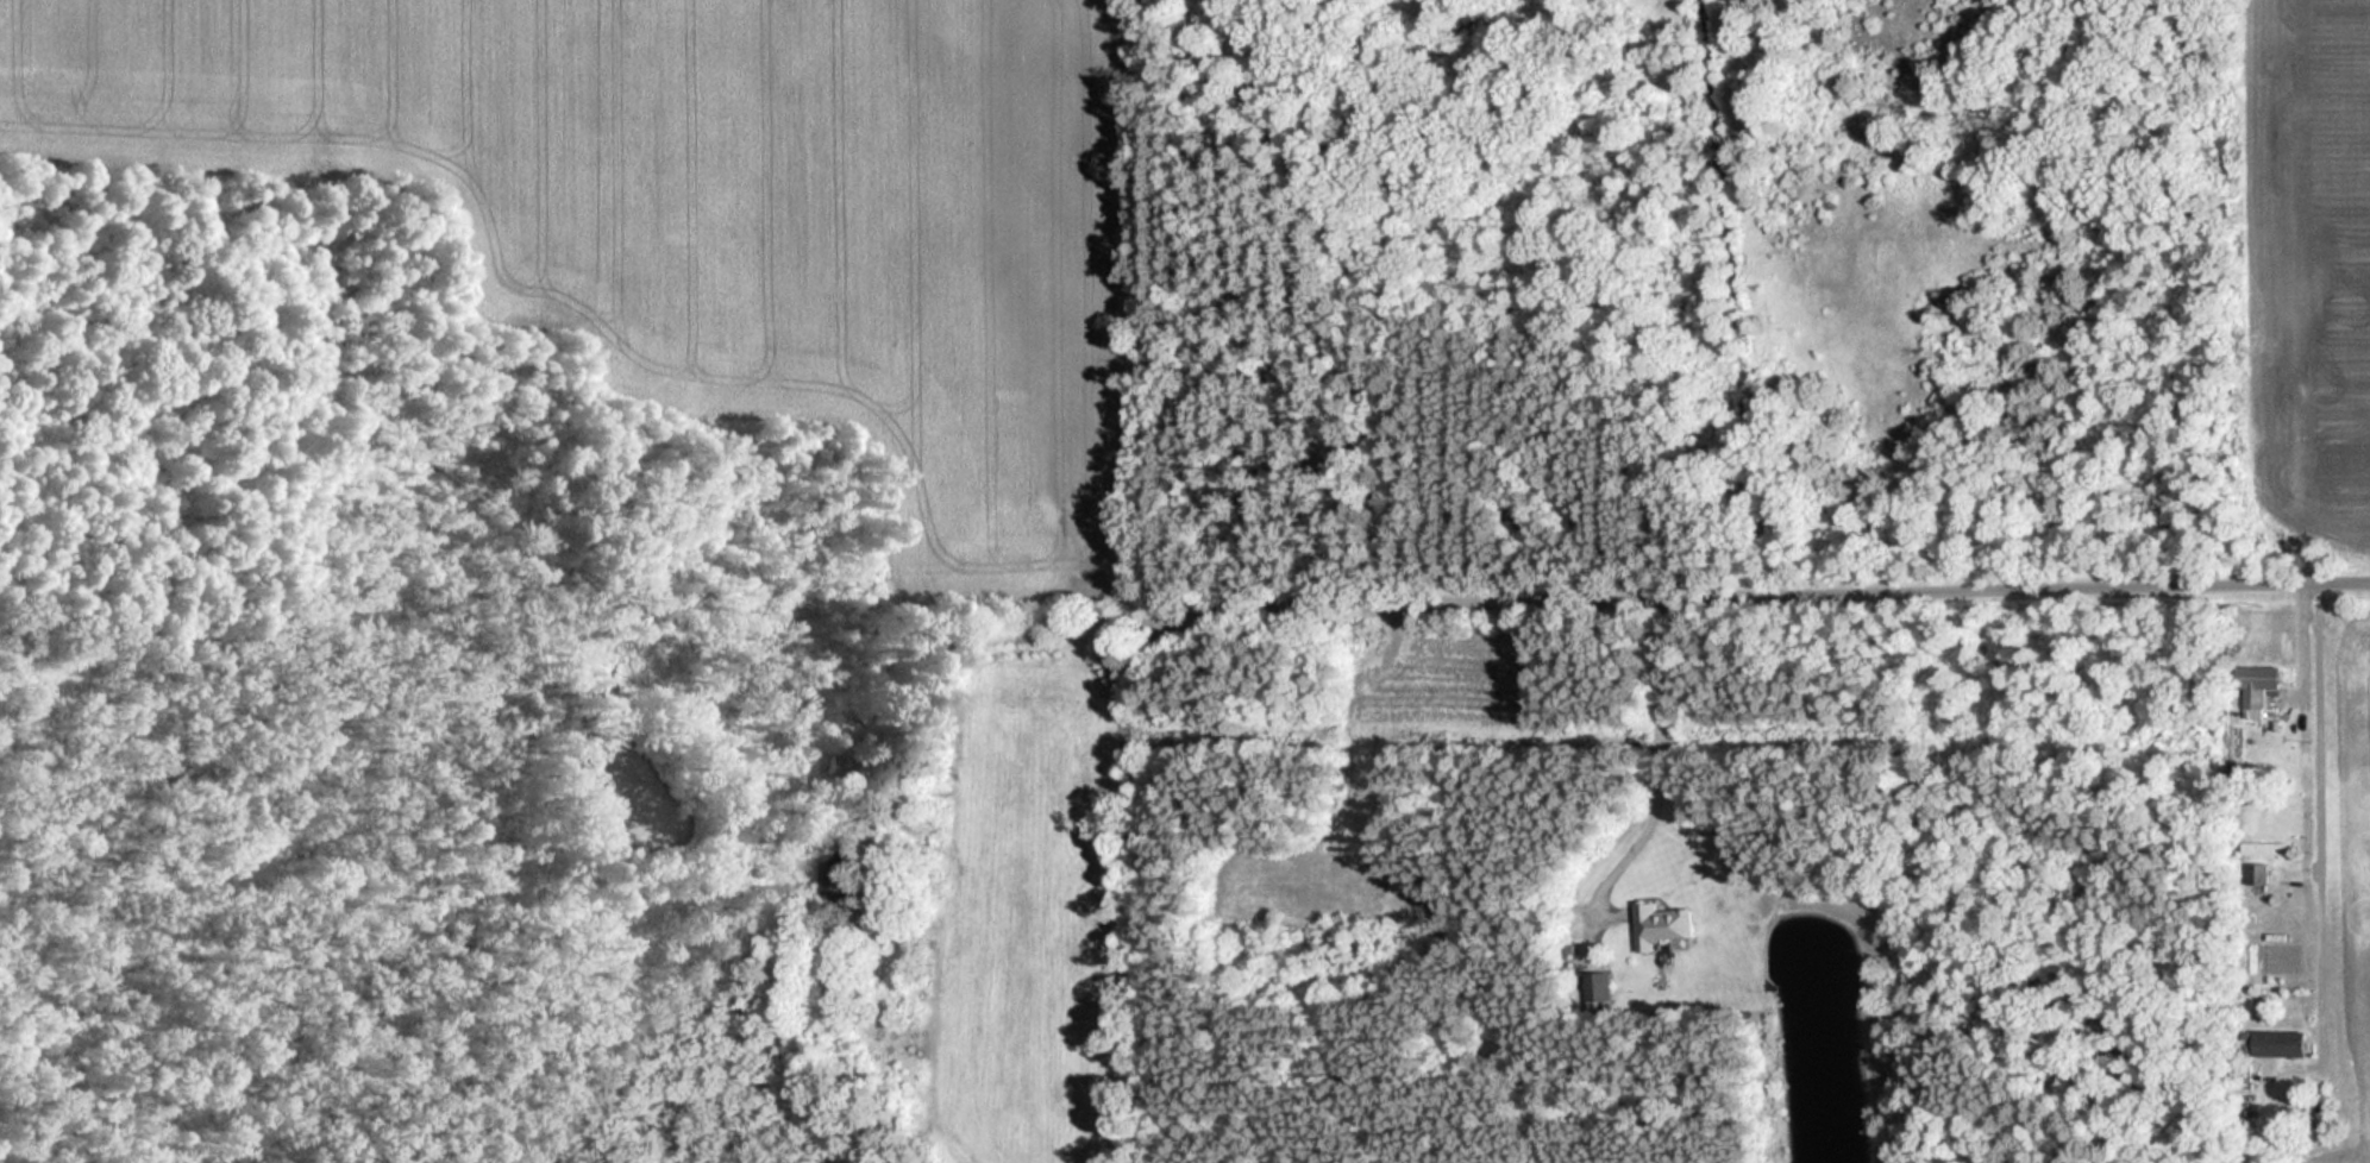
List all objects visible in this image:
road: (1757, 578)
building: (2255, 678)
road: (1660, 759)
building: (2271, 850)
road: (2261, 867)
building: (835, 876)
building: (1664, 925)
building: (2283, 1043)

